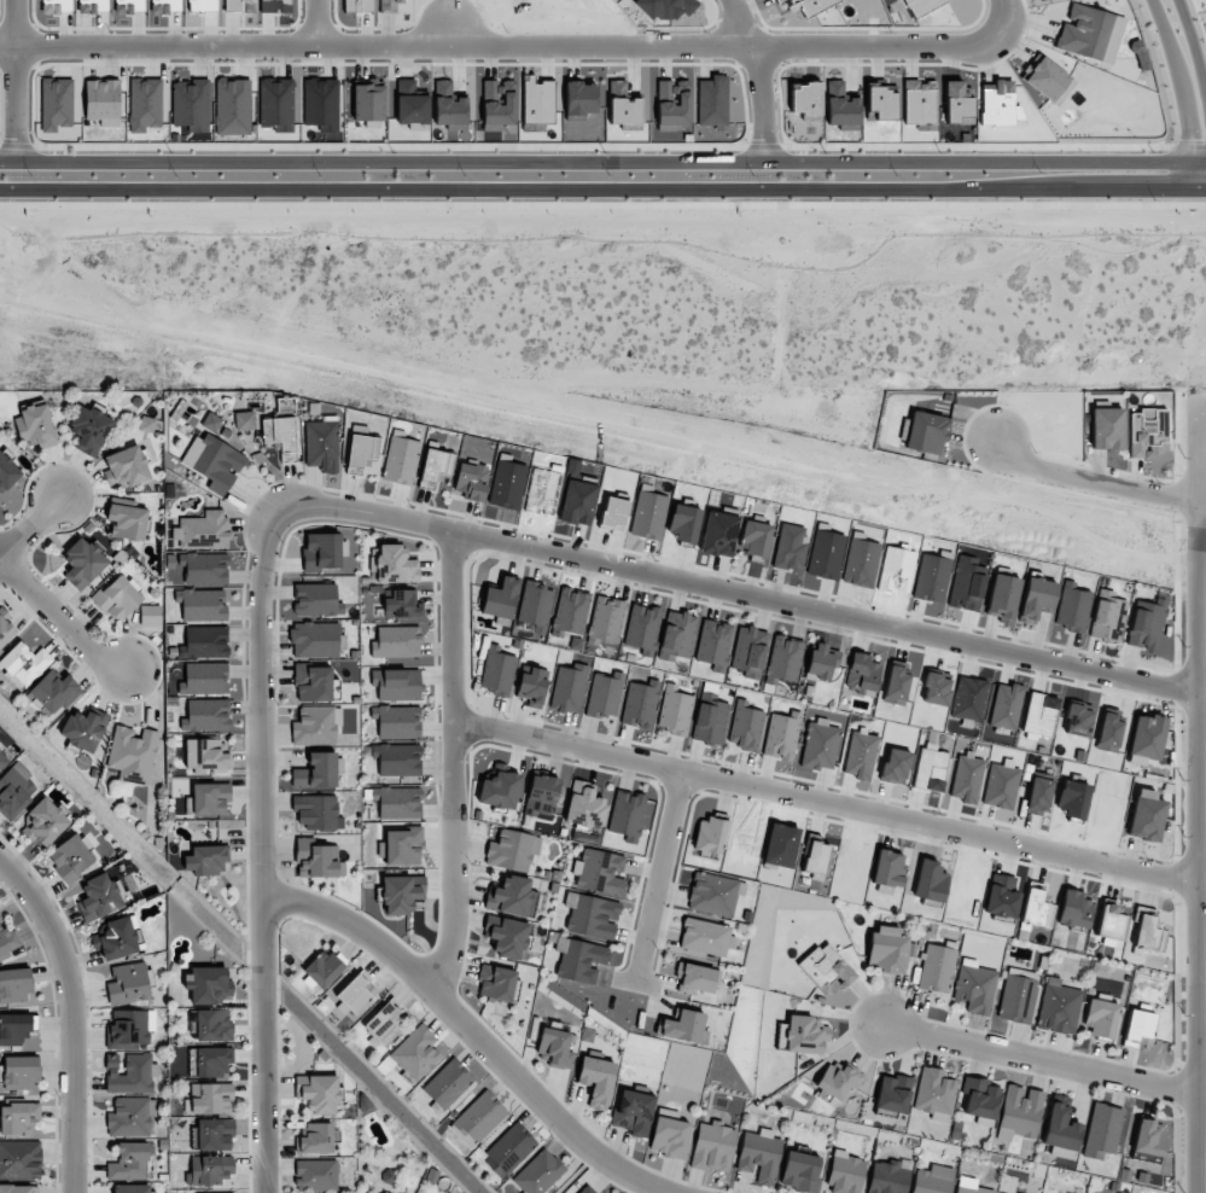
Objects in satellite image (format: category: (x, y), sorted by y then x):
building: (204, 5)
building: (389, 5)
building: (57, 6)
building: (92, 6)
building: (130, 6)
building: (274, 6)
building: (921, 6)
road: (316, 25)
building: (1090, 33)
road: (450, 37)
road: (1192, 47)
road: (518, 51)
road: (756, 80)
building: (1048, 80)
road: (1179, 80)
road: (14, 82)
building: (367, 100)
building: (579, 100)
building: (712, 100)
building: (805, 100)
building: (103, 101)
building: (881, 101)
building: (919, 101)
building: (957, 103)
building: (56, 104)
building: (145, 104)
building: (191, 104)
building: (275, 104)
building: (623, 104)
building: (672, 104)
building: (997, 104)
building: (840, 107)
road: (602, 165)
road: (1198, 180)
road: (602, 191)
building: (244, 420)
building: (211, 423)
building: (147, 424)
building: (36, 426)
building: (89, 429)
building: (1107, 429)
building: (925, 432)
building: (1148, 432)
building: (280, 436)
building: (321, 444)
building: (360, 452)
building: (400, 460)
building: (214, 462)
building: (127, 466)
building: (435, 466)
building: (6, 470)
building: (471, 479)
road: (1094, 483)
building: (577, 502)
building: (648, 516)
building: (127, 522)
road: (31, 525)
building: (203, 530)
building: (718, 534)
building: (755, 539)
building: (324, 551)
building: (83, 563)
building: (395, 565)
building: (204, 568)
building: (966, 583)
road: (740, 592)
building: (1002, 596)
building: (117, 598)
building: (1036, 599)
building: (316, 600)
building: (500, 600)
building: (402, 604)
building: (202, 605)
building: (535, 605)
building: (1072, 607)
building: (570, 611)
building: (150, 616)
building: (1107, 616)
building: (606, 619)
road: (59, 621)
building: (1146, 623)
building: (641, 628)
building: (5, 630)
building: (676, 635)
building: (315, 639)
building: (204, 642)
building: (396, 642)
building: (712, 642)
building: (748, 651)
building: (782, 659)
building: (25, 663)
building: (821, 663)
building: (497, 670)
building: (862, 674)
building: (203, 679)
building: (314, 682)
building: (396, 683)
building: (896, 683)
building: (532, 687)
building: (569, 688)
building: (936, 688)
building: (52, 692)
building: (605, 696)
building: (968, 699)
building: (640, 703)
building: (1006, 705)
building: (675, 710)
building: (205, 715)
building: (1039, 715)
building: (1077, 720)
building: (396, 721)
building: (710, 721)
building: (315, 726)
building: (746, 727)
building: (85, 729)
building: (1108, 731)
building: (780, 737)
building: (1146, 739)
building: (820, 743)
building: (133, 753)
building: (860, 755)
building: (205, 757)
building: (397, 760)
building: (2, 761)
road: (450, 766)
building: (895, 766)
building: (930, 768)
building: (317, 770)
building: (967, 778)
building: (1001, 785)
building: (14, 790)
building: (499, 791)
building: (541, 795)
road: (1202, 795)
building: (1038, 796)
building: (210, 798)
building: (397, 802)
road: (828, 803)
building: (584, 805)
building: (316, 811)
building: (627, 814)
building: (1146, 815)
building: (45, 822)
building: (710, 836)
building: (403, 846)
road: (261, 849)
building: (513, 850)
building: (71, 857)
building: (205, 860)
building: (316, 860)
building: (815, 860)
building: (887, 868)
building: (600, 872)
road: (657, 878)
building: (401, 892)
building: (713, 894)
building: (509, 896)
building: (1001, 897)
building: (99, 898)
building: (1036, 907)
building: (1074, 909)
building: (592, 915)
building: (1109, 921)
building: (1148, 933)
building: (705, 937)
building: (116, 938)
building: (507, 938)
building: (8, 942)
building: (887, 950)
building: (579, 960)
building: (937, 968)
building: (321, 970)
building: (826, 970)
building: (695, 979)
building: (495, 982)
building: (128, 983)
building: (209, 984)
building: (14, 985)
building: (974, 987)
building: (355, 993)
building: (1016, 995)
building: (1059, 1007)
road: (68, 1014)
building: (1101, 1019)
building: (381, 1024)
building: (212, 1025)
building: (683, 1026)
building: (129, 1029)
building: (1138, 1029)
road: (471, 1030)
building: (805, 1035)
building: (555, 1046)
building: (416, 1053)
road: (1039, 1059)
building: (210, 1061)
building: (21, 1071)
building: (129, 1073)
building: (838, 1079)
building: (596, 1081)
building: (447, 1084)
building: (317, 1093)
building: (892, 1093)
building: (934, 1094)
building: (209, 1098)
building: (980, 1101)
building: (634, 1112)
building: (1019, 1113)
building: (130, 1117)
building: (17, 1118)
building: (478, 1118)
building: (1060, 1129)
building: (1102, 1130)
building: (212, 1134)
building: (669, 1134)
building: (316, 1139)
building: (1148, 1140)
building: (713, 1146)
building: (511, 1148)
building: (759, 1154)
building: (21, 1159)
building: (129, 1162)
building: (209, 1170)
building: (800, 1171)
building: (538, 1172)
building: (845, 1174)
building: (315, 1175)
building: (932, 1180)
building: (969, 1186)
building: (133, 1188)
building: (585, 1189)
building: (371, 1192)

